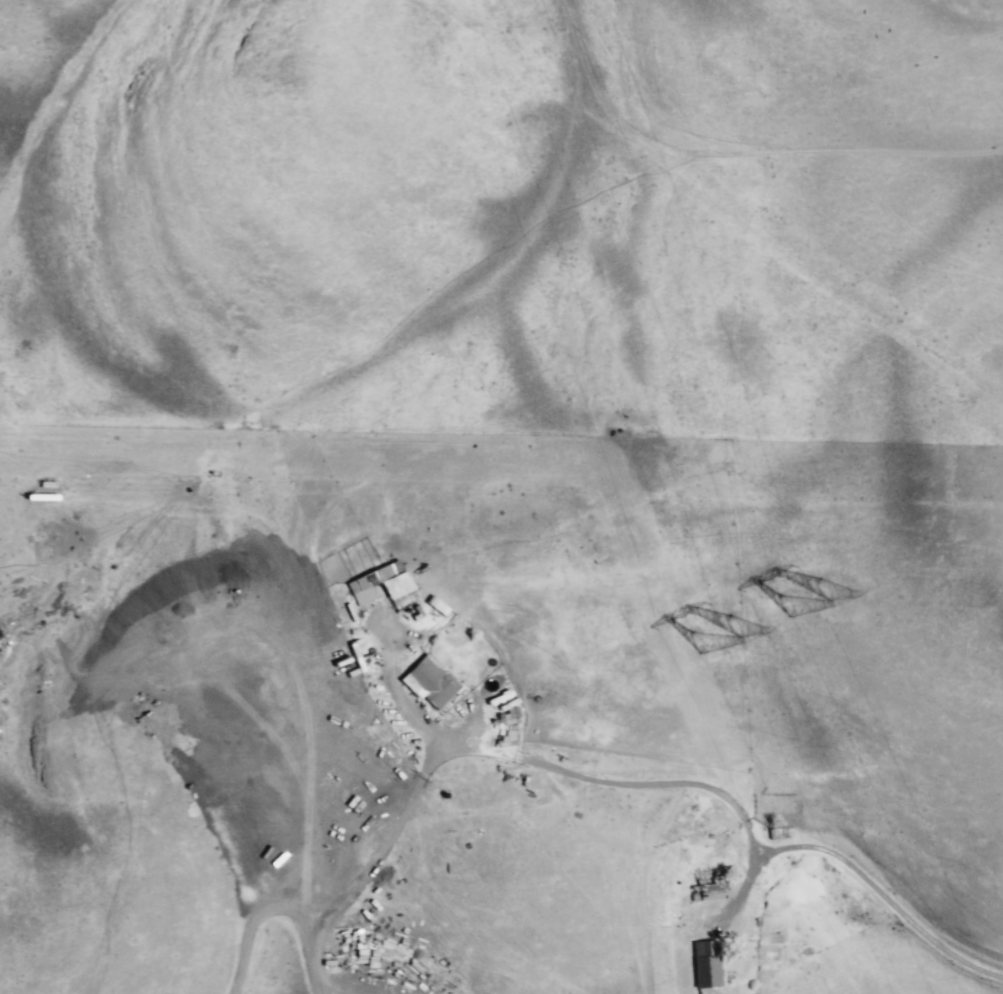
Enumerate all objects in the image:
building: (32, 549)
building: (365, 579)
power tower: (811, 590)
power tower: (706, 631)
building: (425, 683)
road: (613, 783)
building: (774, 834)
building: (704, 886)
road: (257, 920)
building: (703, 964)

